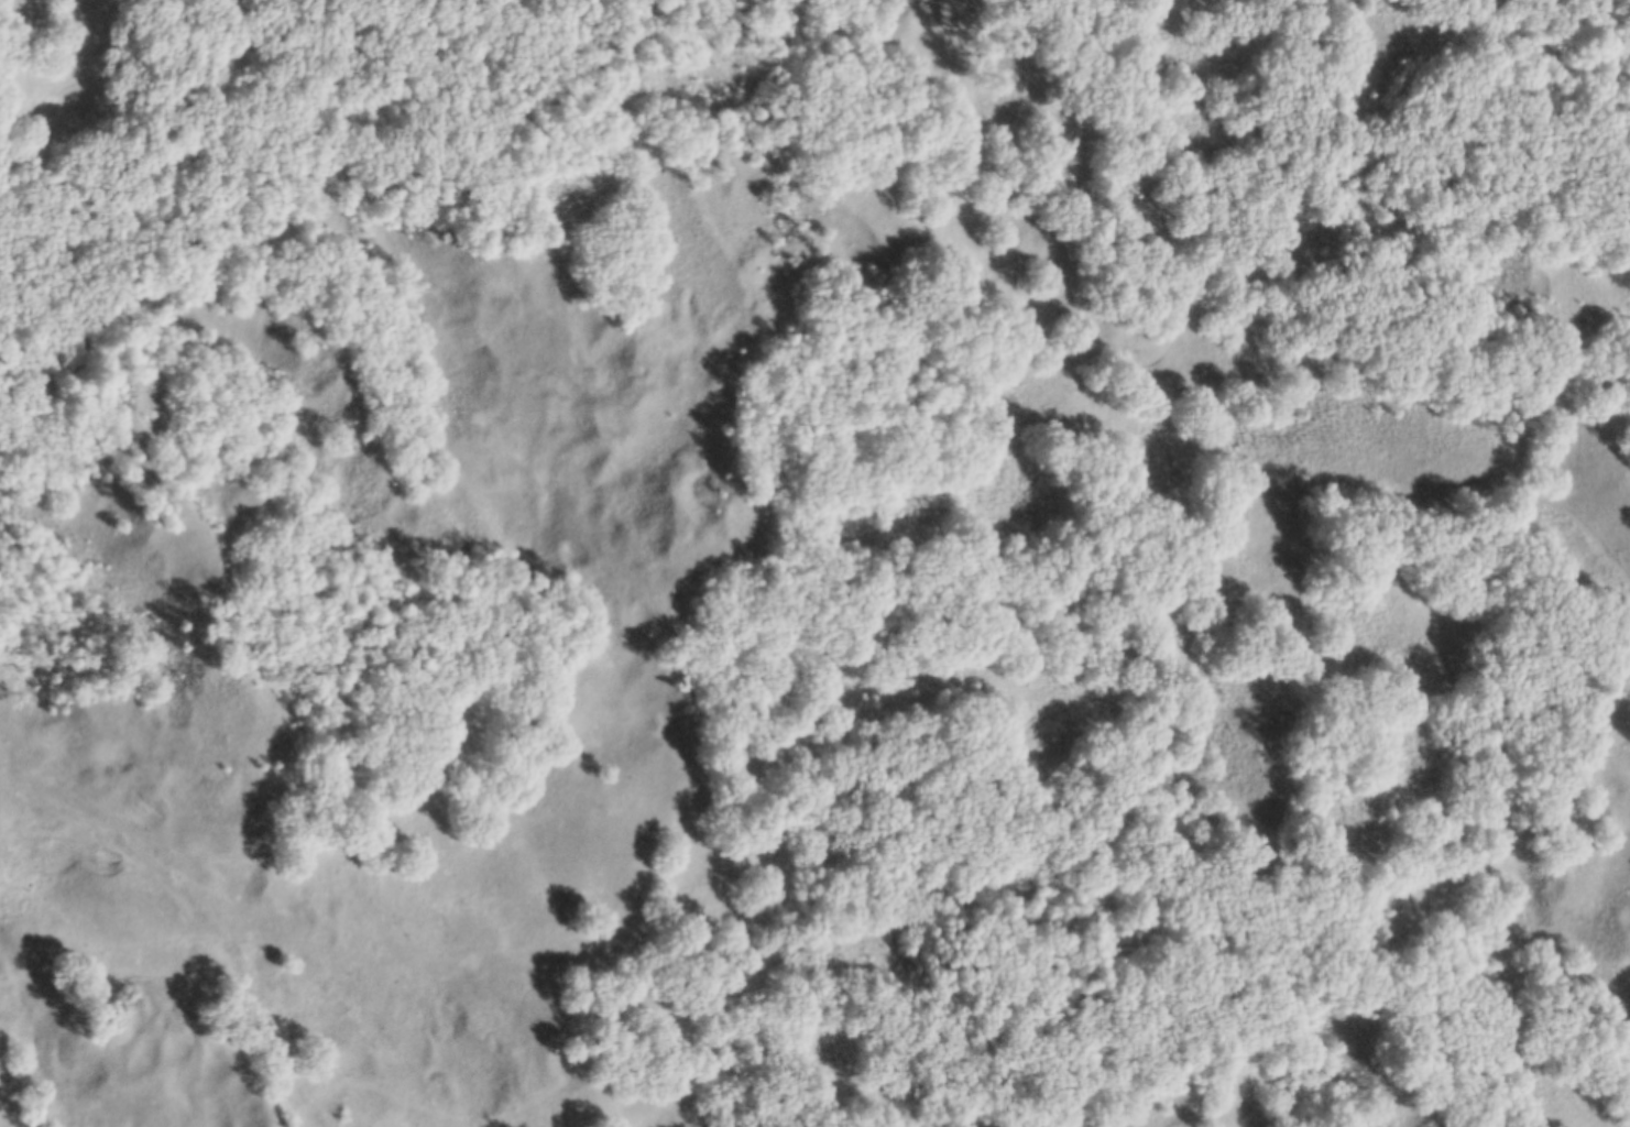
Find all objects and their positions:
road: (95, 3)
road: (945, 810)

